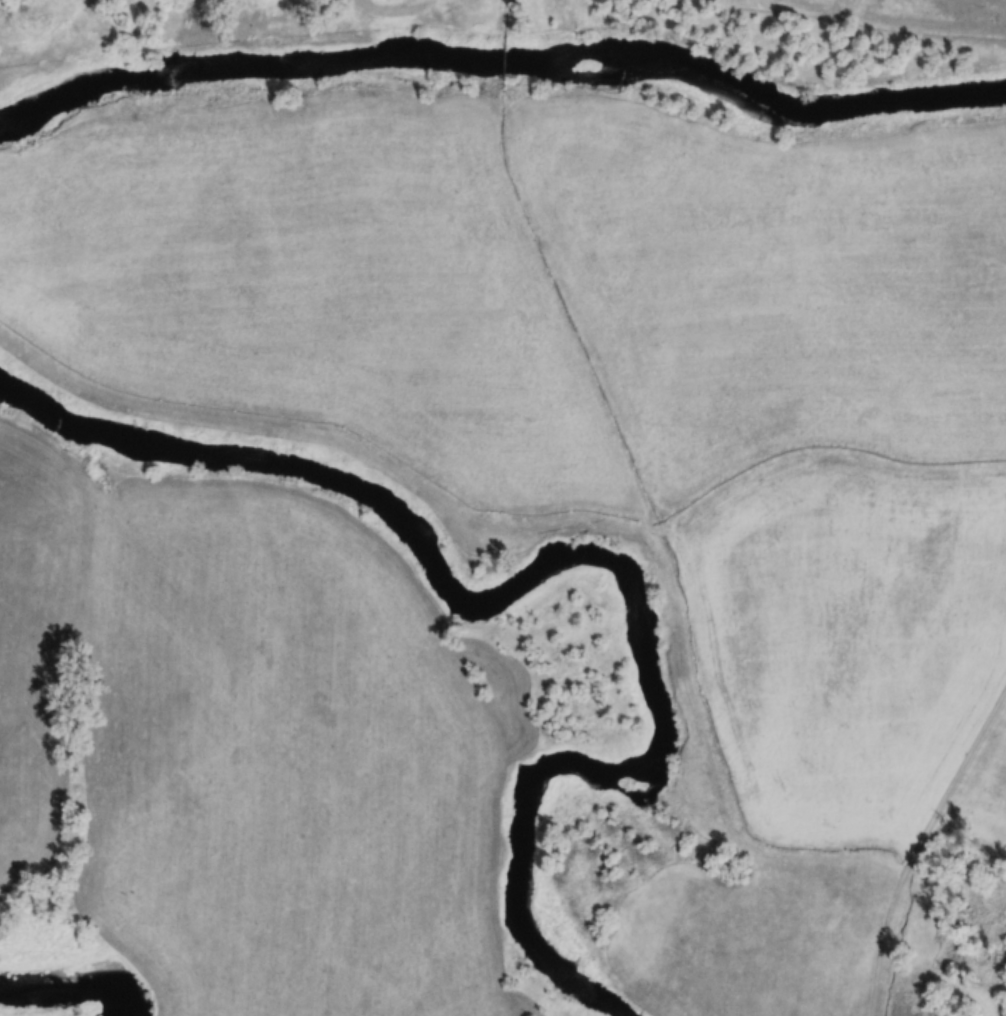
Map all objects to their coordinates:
river: (500, 43)
river: (565, 551)
river: (70, 982)

